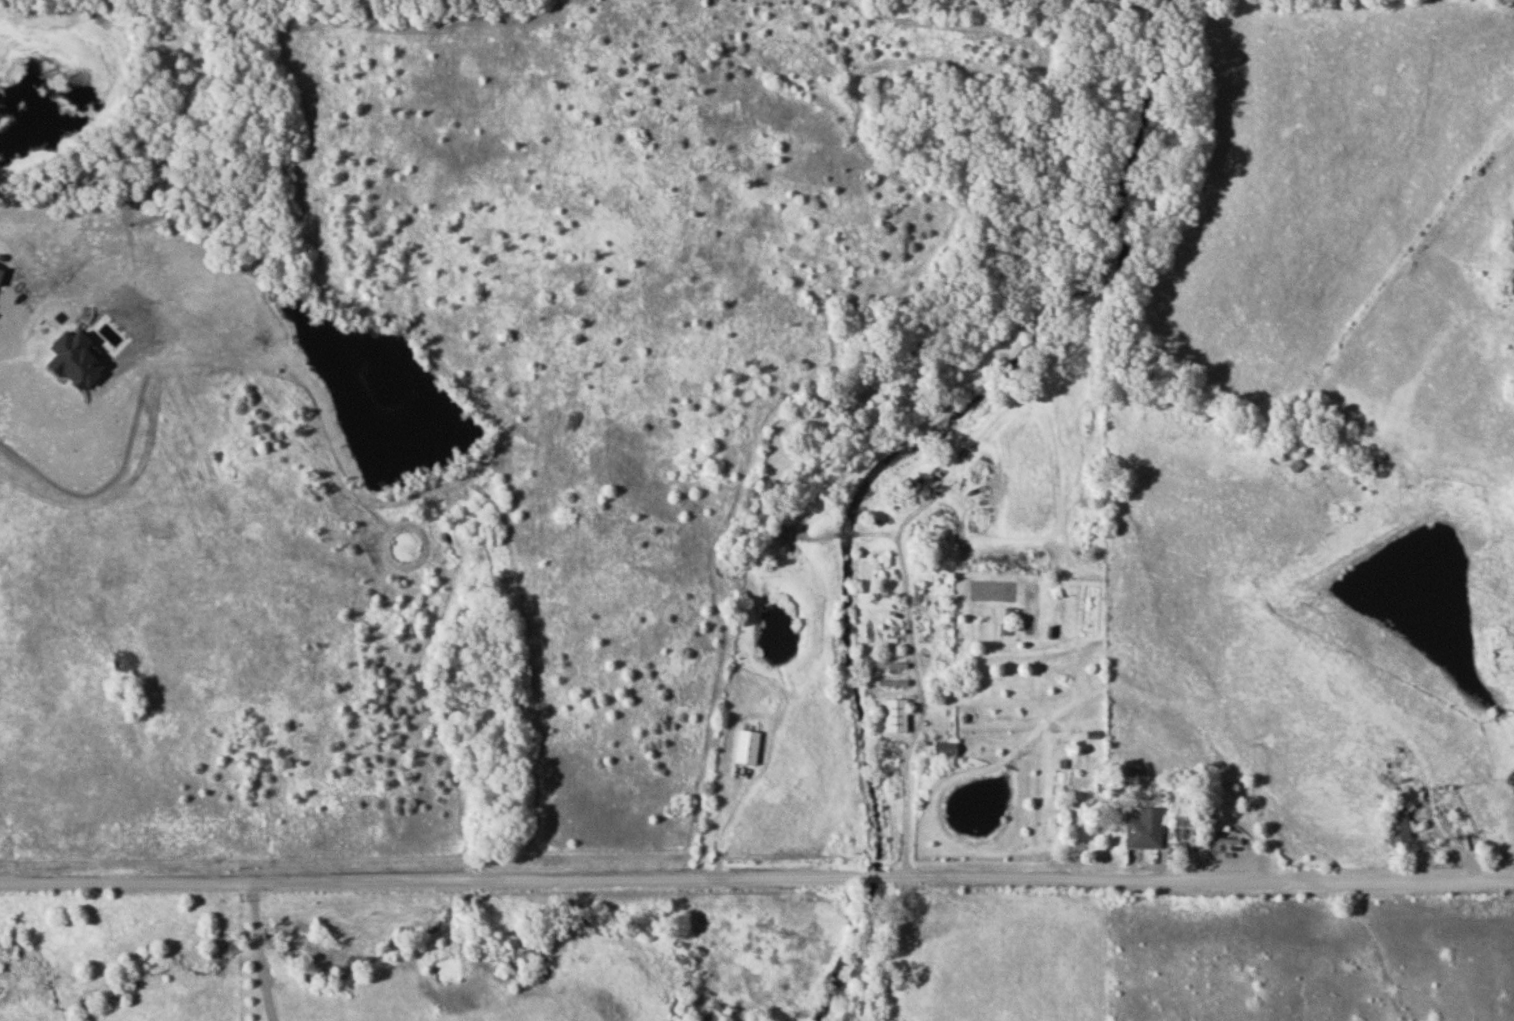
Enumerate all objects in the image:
building: (896, 714)
building: (747, 746)
building: (945, 748)
road: (903, 784)
building: (1183, 809)
building: (1397, 826)
building: (1145, 828)
road: (757, 877)

